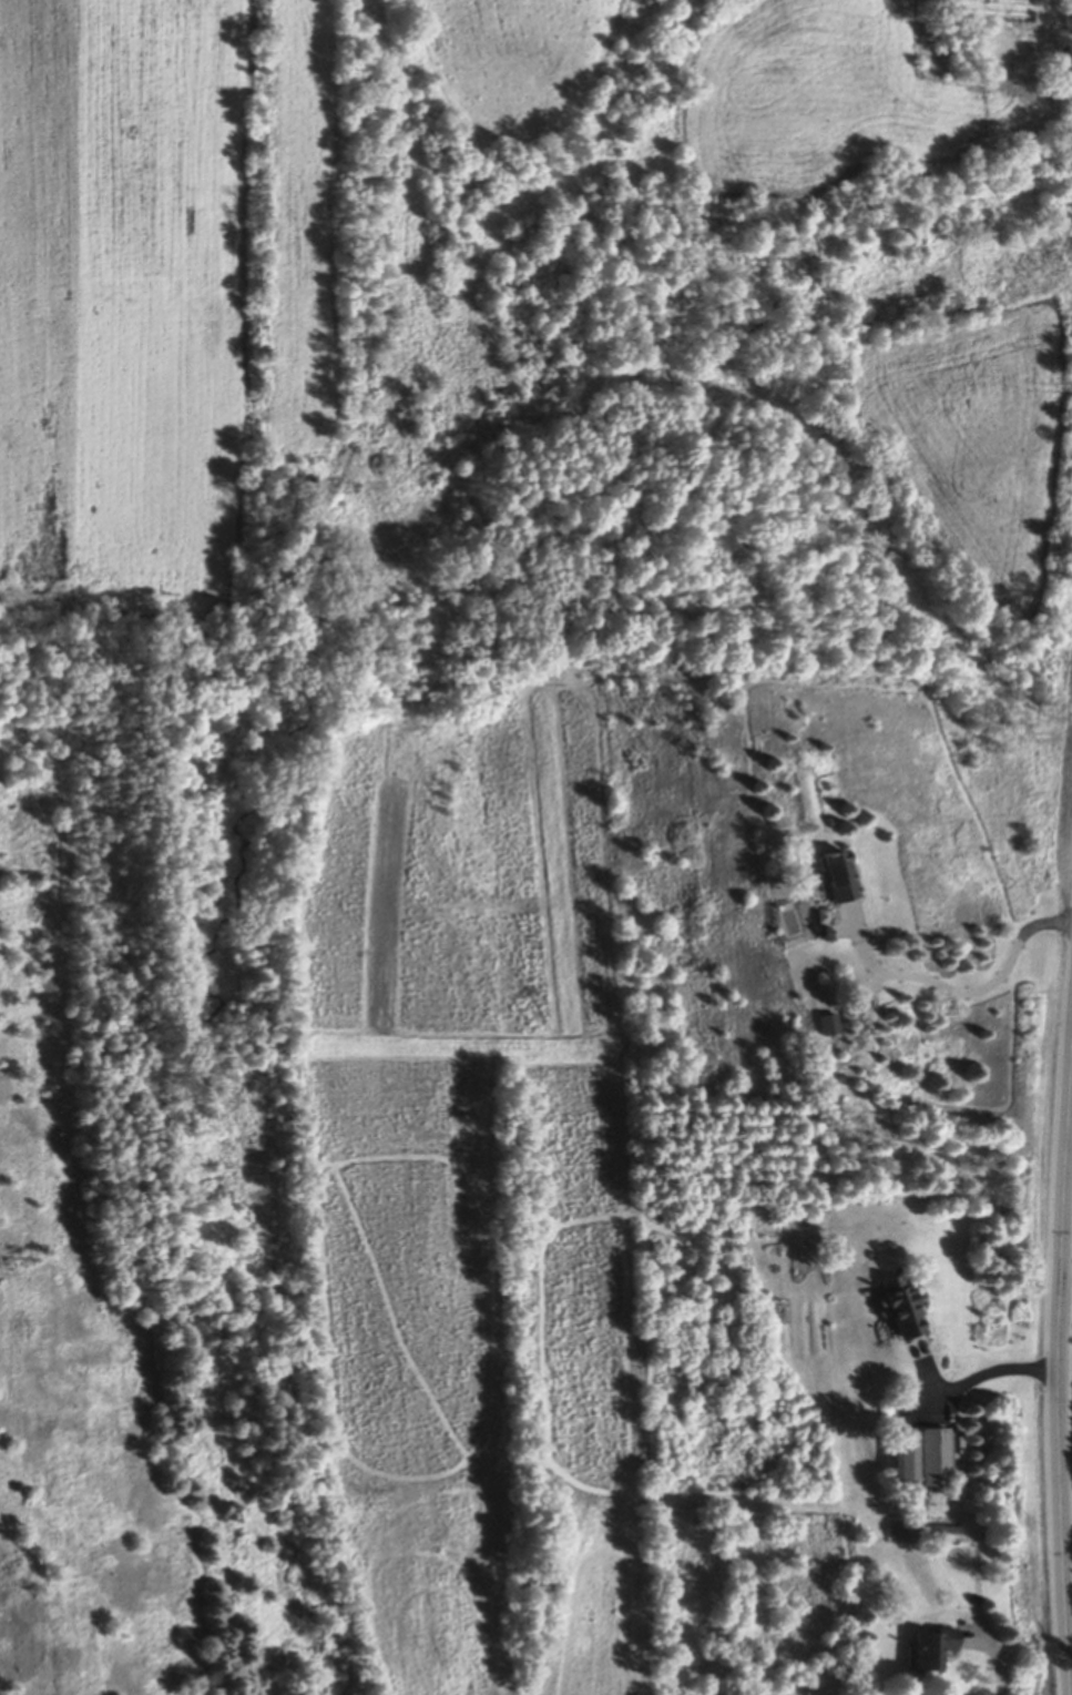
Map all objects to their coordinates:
building: (831, 879)
road: (958, 993)
building: (826, 1026)
building: (896, 1310)
road: (991, 1373)
road: (1064, 1408)
building: (932, 1460)
building: (901, 1461)
building: (928, 1651)
road: (996, 1662)
road: (1071, 1671)

